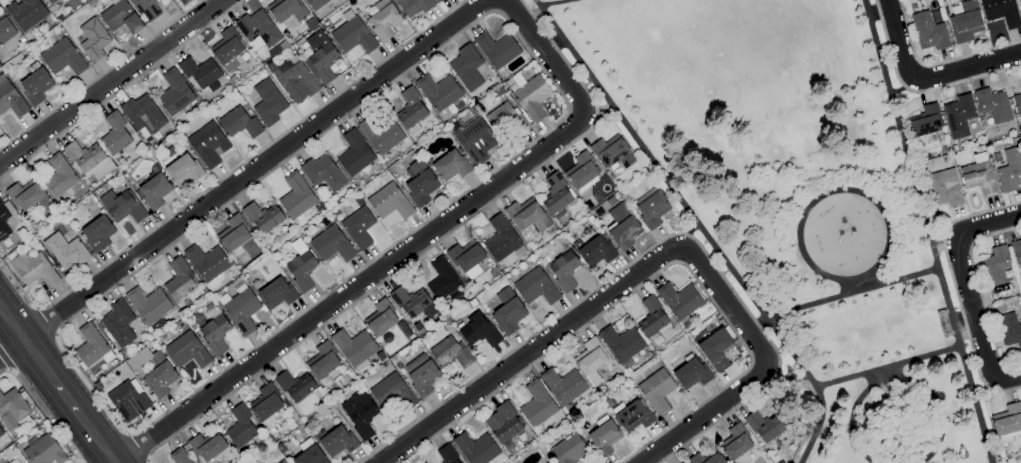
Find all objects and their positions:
building: (437, 0)
park: (543, 0)
building: (49, 1)
road: (553, 3)
building: (314, 4)
building: (412, 7)
building: (1019, 7)
building: (286, 10)
building: (999, 12)
building: (25, 13)
road: (878, 13)
building: (118, 17)
building: (382, 20)
building: (963, 21)
building: (258, 28)
building: (5, 30)
building: (927, 32)
building: (352, 36)
building: (92, 39)
road: (897, 42)
park: (719, 43)
building: (225, 47)
road: (552, 47)
building: (496, 49)
building: (320, 56)
building: (61, 57)
road: (547, 57)
building: (465, 67)
road: (967, 70)
building: (200, 73)
road: (111, 83)
building: (35, 85)
road: (901, 86)
building: (173, 93)
building: (438, 94)
building: (531, 98)
building: (10, 99)
building: (267, 102)
building: (1016, 103)
building: (992, 105)
building: (410, 110)
road: (600, 110)
building: (142, 115)
building: (957, 116)
building: (505, 119)
building: (925, 121)
building: (238, 123)
building: (113, 134)
building: (380, 135)
building: (475, 140)
building: (207, 144)
building: (612, 152)
building: (353, 153)
building: (449, 165)
building: (182, 169)
building: (1009, 170)
building: (580, 171)
building: (321, 173)
building: (58, 176)
road: (243, 176)
building: (978, 178)
building: (418, 182)
building: (943, 188)
building: (152, 191)
building: (27, 195)
building: (295, 196)
building: (555, 196)
building: (388, 202)
building: (121, 206)
park: (799, 206)
building: (655, 213)
building: (526, 215)
building: (262, 217)
road: (986, 225)
building: (5, 226)
road: (696, 226)
building: (357, 227)
road: (683, 231)
road: (926, 231)
building: (96, 233)
building: (233, 234)
building: (625, 236)
road: (798, 238)
building: (499, 239)
road: (941, 243)
building: (330, 244)
building: (64, 251)
building: (595, 251)
building: (1016, 251)
building: (466, 259)
building: (205, 262)
building: (994, 266)
building: (32, 269)
building: (300, 269)
building: (563, 270)
building: (441, 279)
building: (178, 280)
road: (861, 285)
building: (534, 287)
road: (353, 288)
building: (275, 293)
road: (841, 297)
building: (678, 300)
building: (412, 303)
building: (148, 304)
road: (592, 307)
building: (240, 311)
building: (506, 311)
building: (650, 317)
building: (379, 318)
road: (962, 320)
building: (117, 324)
road: (974, 324)
building: (477, 330)
building: (1008, 330)
building: (214, 334)
building: (620, 343)
building: (89, 345)
building: (352, 346)
building: (714, 349)
building: (186, 351)
building: (449, 352)
building: (590, 358)
building: (321, 361)
road: (886, 368)
building: (690, 373)
building: (420, 374)
road: (794, 376)
road: (883, 376)
building: (158, 379)
road: (896, 382)
road: (57, 383)
building: (562, 385)
building: (294, 386)
road: (981, 388)
building: (655, 391)
building: (391, 392)
building: (127, 400)
building: (265, 404)
building: (536, 404)
building: (12, 409)
building: (358, 413)
road: (708, 413)
building: (632, 416)
building: (1007, 422)
building: (502, 423)
building: (763, 426)
building: (239, 427)
building: (0, 434)
building: (603, 437)
building: (336, 441)
building: (734, 442)
building: (206, 446)
building: (475, 448)
building: (567, 449)
building: (43, 451)
building: (446, 454)
building: (178, 456)
building: (308, 456)
building: (705, 458)
building: (14, 461)
building: (281, 461)
building: (550, 462)

